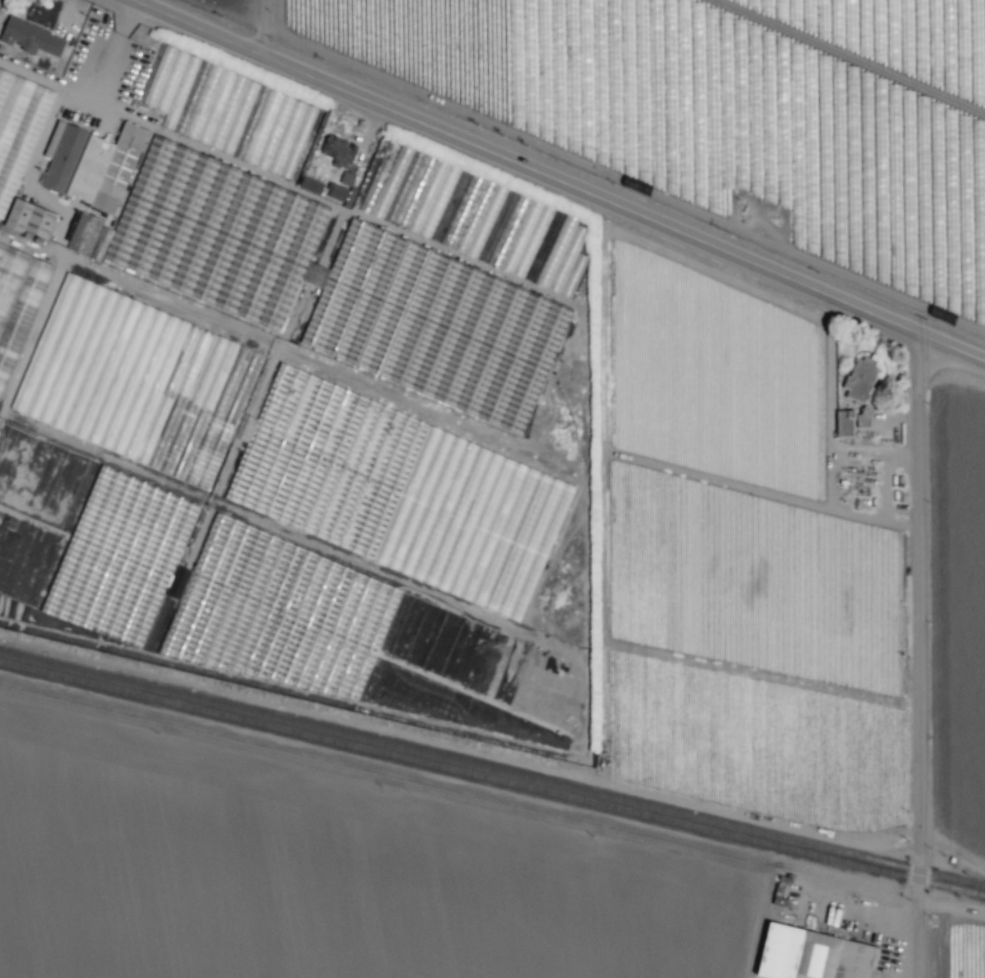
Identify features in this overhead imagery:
road: (263, 26)
building: (31, 37)
building: (18, 127)
building: (339, 152)
building: (91, 164)
road: (561, 180)
building: (310, 185)
building: (341, 190)
building: (33, 219)
building: (89, 236)
crop: (516, 377)
building: (861, 378)
building: (862, 420)
building: (845, 422)
road: (919, 656)
road: (460, 745)
railway: (492, 769)
railway: (492, 779)
crop: (363, 877)
crop: (967, 946)
building: (813, 955)

